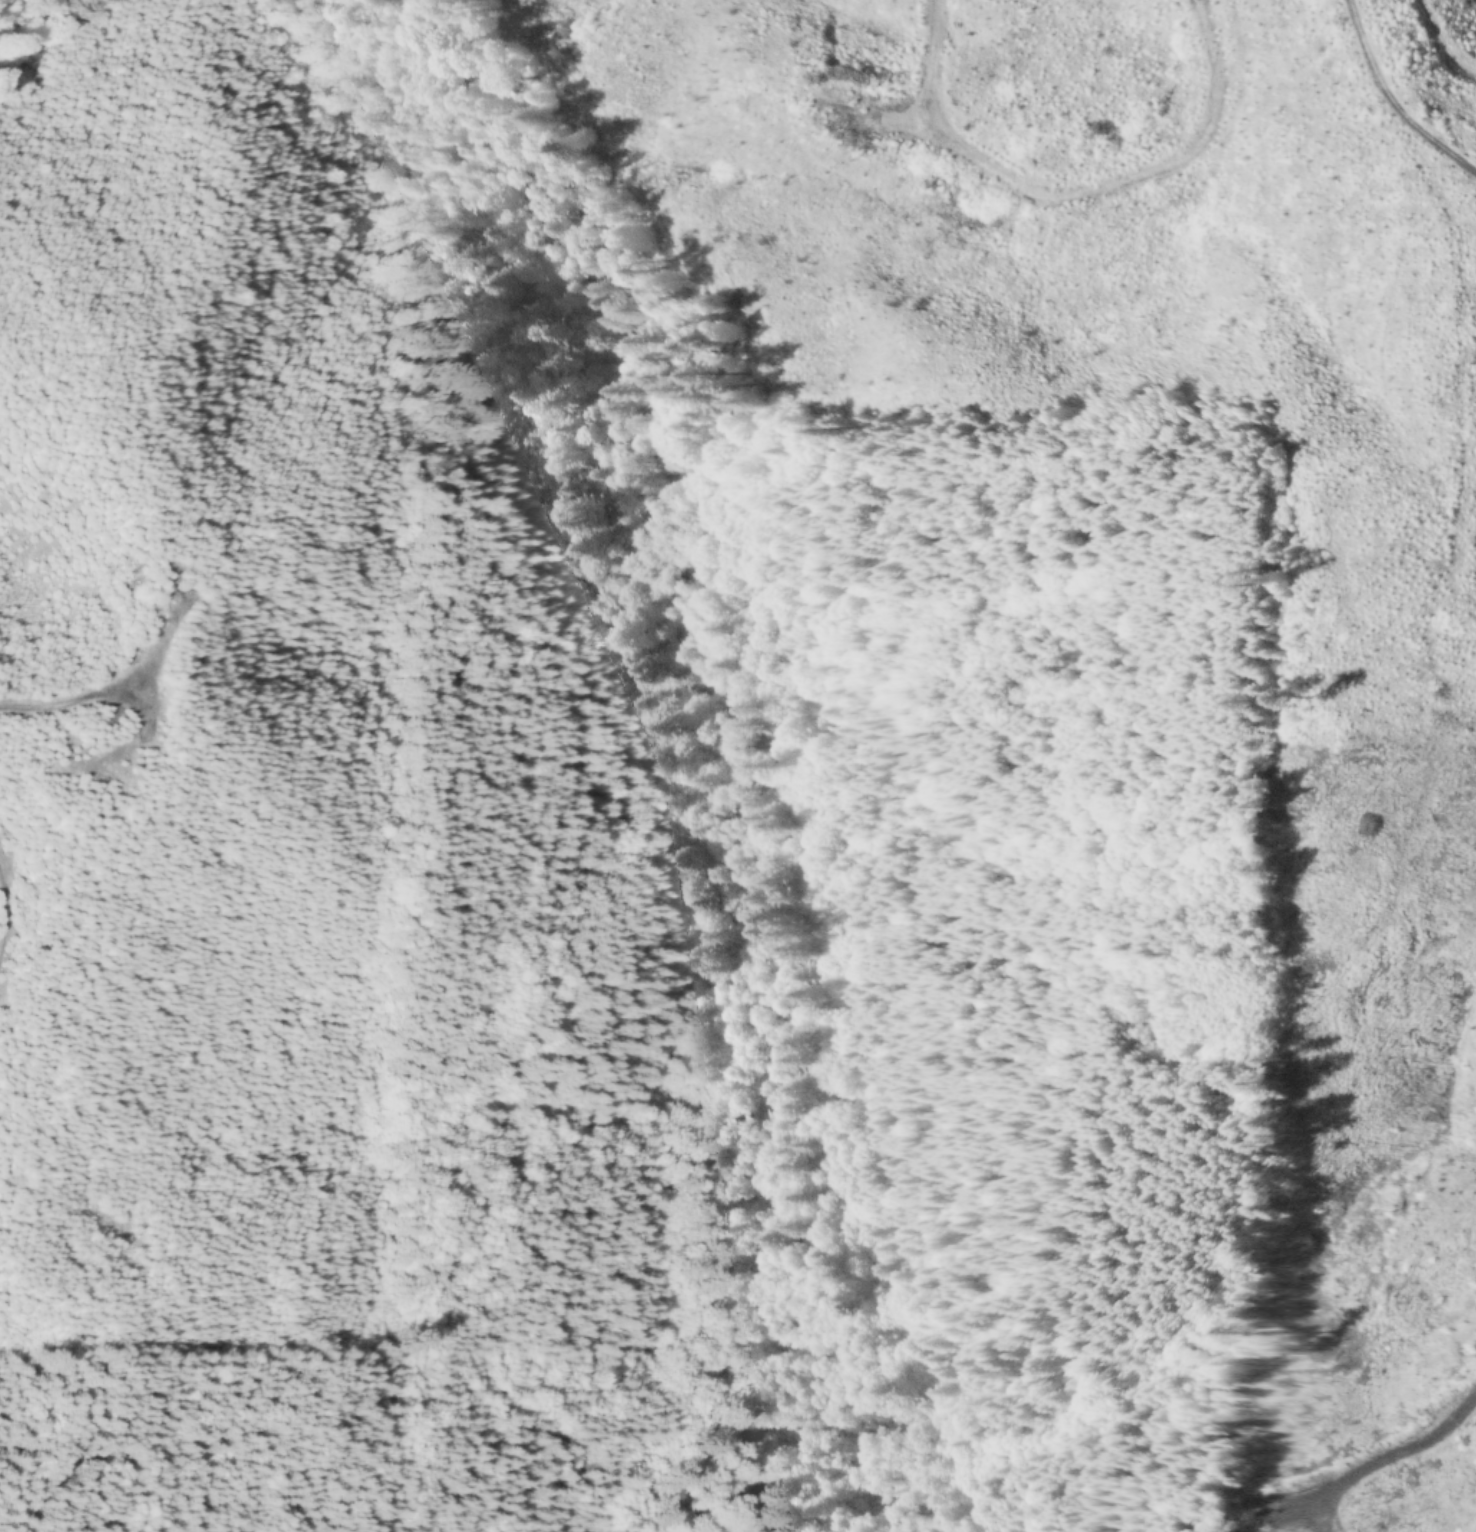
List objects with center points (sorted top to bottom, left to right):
road: (1394, 97)
road: (1075, 193)
road: (56, 690)
road: (1, 892)

